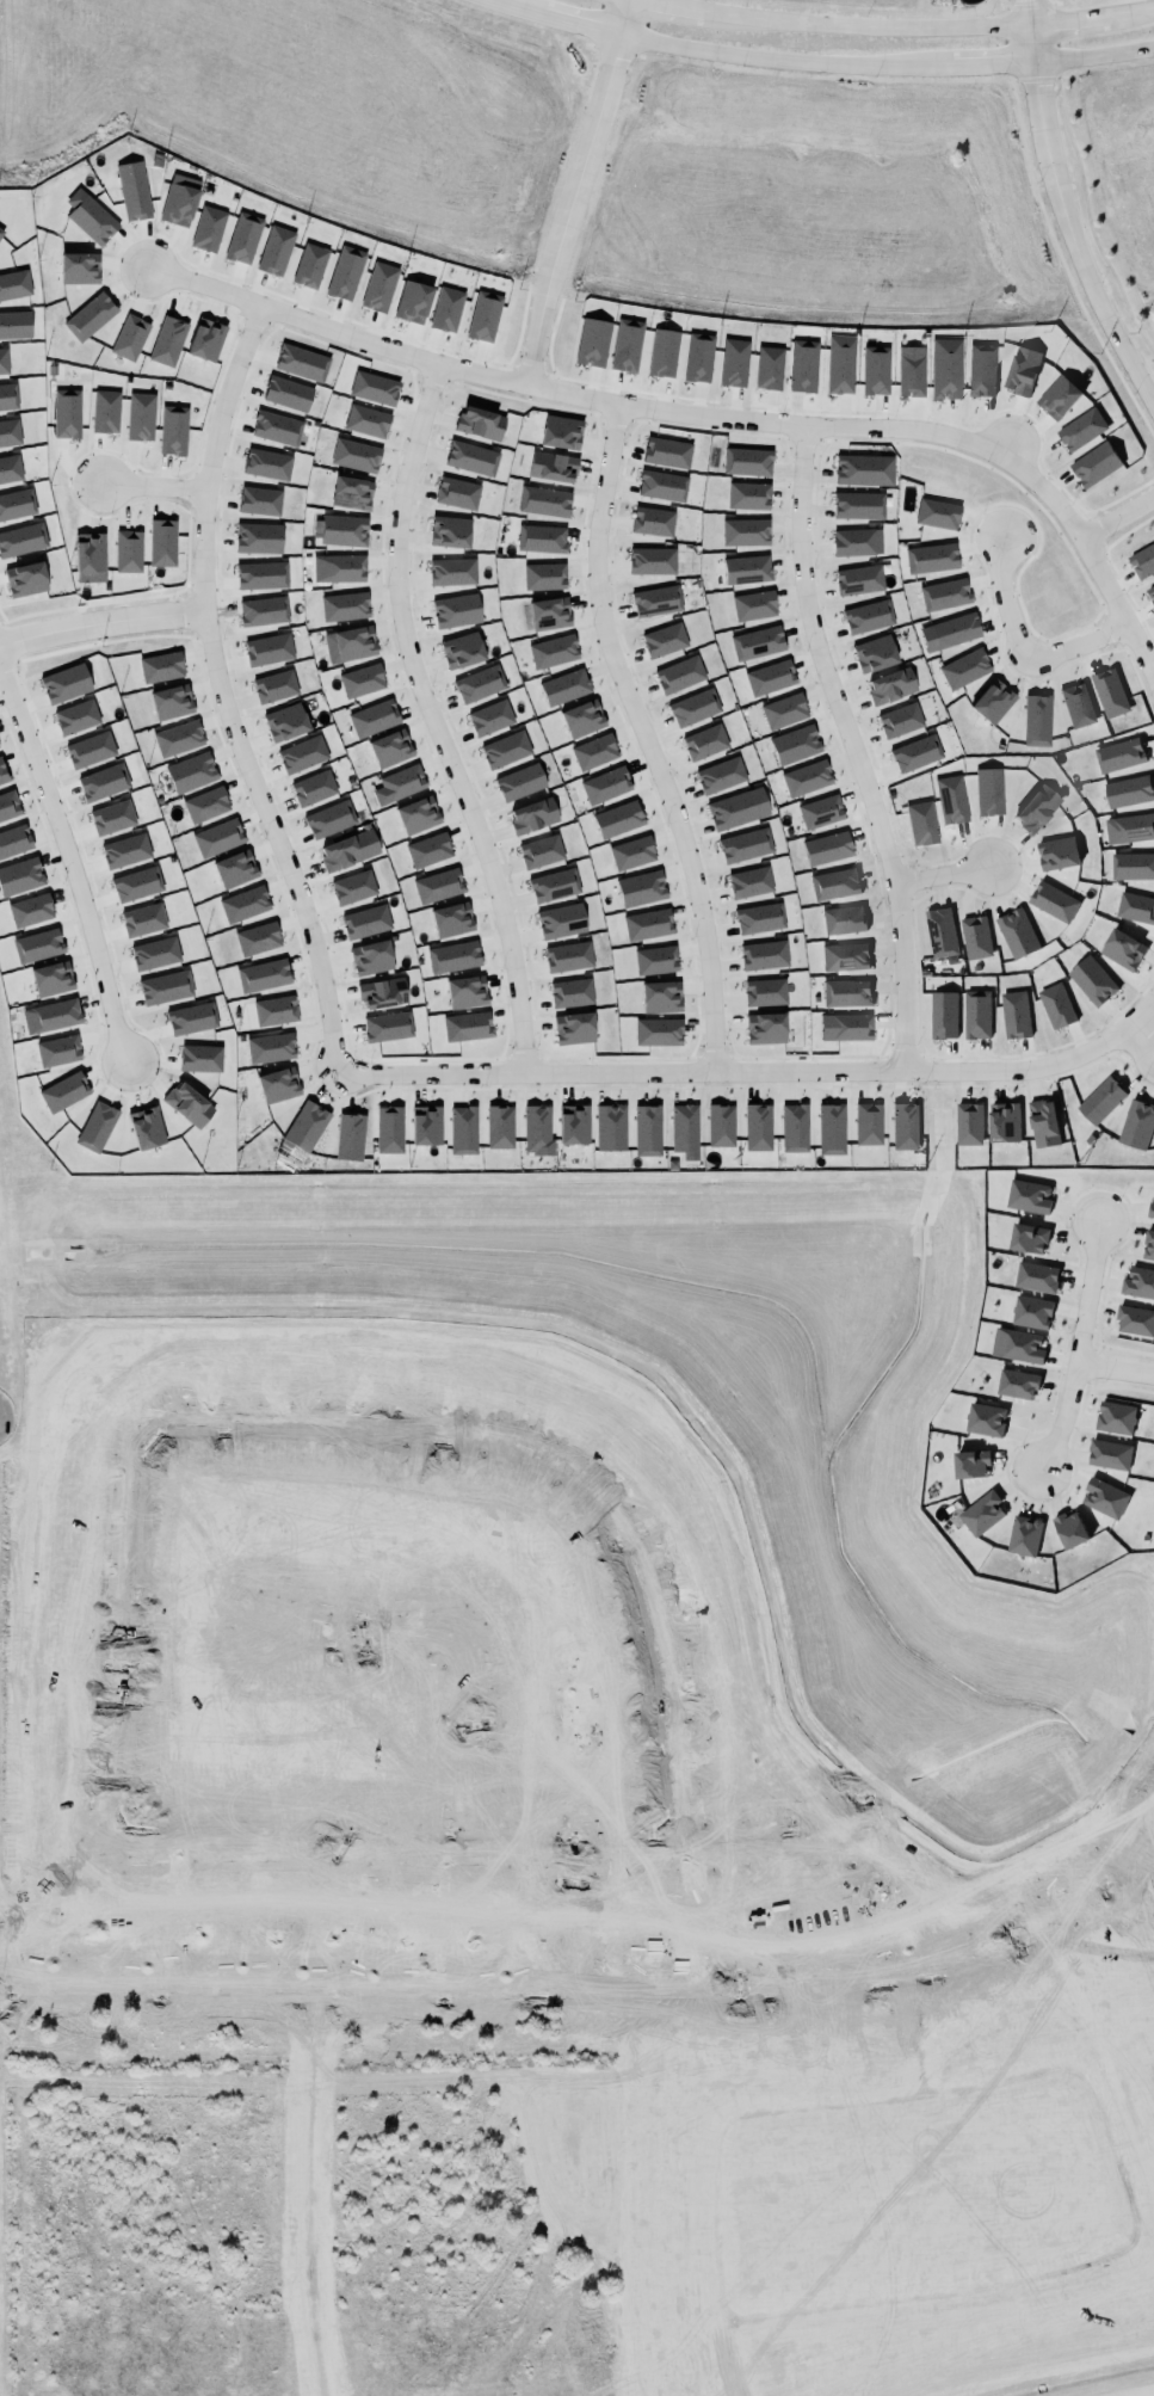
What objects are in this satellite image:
road: (1023, 13)
road: (890, 27)
road: (1026, 44)
road: (815, 64)
building: (134, 191)
road: (573, 191)
building: (179, 199)
building: (91, 220)
building: (209, 229)
building: (1, 233)
building: (243, 238)
road: (1073, 240)
building: (276, 251)
building: (310, 266)
building: (80, 269)
building: (346, 273)
building: (14, 285)
building: (379, 287)
building: (413, 300)
building: (446, 309)
building: (90, 316)
building: (483, 316)
building: (14, 326)
building: (130, 338)
building: (206, 340)
building: (592, 340)
building: (166, 345)
building: (627, 345)
building: (664, 353)
building: (698, 358)
building: (4, 362)
building: (302, 363)
building: (734, 363)
building: (840, 365)
building: (803, 367)
building: (944, 367)
building: (769, 368)
building: (876, 370)
building: (982, 370)
building: (1023, 370)
building: (912, 371)
building: (374, 388)
building: (1057, 393)
building: (288, 394)
building: (7, 398)
building: (106, 412)
building: (67, 414)
road: (702, 414)
building: (141, 417)
building: (365, 419)
building: (477, 421)
building: (277, 427)
building: (1082, 429)
building: (8, 430)
building: (173, 431)
building: (561, 432)
building: (667, 452)
building: (356, 456)
building: (471, 458)
building: (747, 461)
building: (1096, 461)
building: (267, 464)
building: (553, 467)
building: (10, 469)
building: (864, 469)
road: (153, 486)
building: (662, 486)
building: (456, 492)
building: (352, 493)
building: (747, 494)
building: (260, 501)
building: (544, 501)
building: (856, 503)
building: (17, 504)
building: (937, 513)
road: (1117, 518)
building: (653, 522)
building: (344, 530)
building: (450, 532)
building: (746, 532)
building: (259, 538)
building: (542, 538)
building: (21, 540)
building: (160, 541)
building: (853, 541)
building: (129, 552)
building: (90, 558)
building: (932, 559)
building: (1142, 560)
building: (652, 561)
building: (339, 568)
building: (747, 569)
building: (452, 572)
building: (263, 575)
building: (544, 577)
building: (25, 579)
building: (859, 579)
building: (1150, 592)
building: (945, 595)
building: (656, 602)
building: (345, 606)
building: (754, 606)
building: (264, 611)
building: (456, 611)
building: (549, 614)
building: (869, 616)
road: (101, 623)
building: (950, 633)
building: (665, 640)
building: (755, 640)
building: (350, 645)
building: (267, 647)
building: (462, 651)
building: (553, 652)
road: (1023, 652)
building: (875, 654)
building: (161, 667)
building: (965, 669)
building: (680, 675)
building: (770, 678)
building: (363, 680)
building: (477, 682)
building: (889, 683)
building: (66, 684)
building: (276, 686)
building: (564, 688)
building: (1110, 692)
road: (223, 694)
building: (992, 698)
building: (172, 702)
building: (1078, 706)
building: (692, 707)
building: (784, 712)
building: (76, 717)
building: (490, 717)
building: (374, 719)
building: (582, 719)
road: (434, 720)
building: (900, 720)
building: (1037, 720)
building: (286, 721)
road: (646, 737)
building: (178, 738)
building: (705, 743)
building: (795, 745)
road: (854, 746)
building: (390, 749)
building: (90, 750)
building: (506, 750)
building: (594, 752)
building: (301, 753)
building: (917, 753)
building: (1119, 754)
building: (191, 772)
building: (2, 774)
building: (721, 775)
building: (804, 776)
building: (519, 780)
building: (101, 781)
building: (401, 782)
building: (606, 786)
building: (314, 788)
building: (1129, 790)
building: (989, 792)
building: (951, 797)
building: (206, 805)
building: (8, 806)
building: (1037, 808)
building: (820, 809)
building: (733, 811)
building: (418, 815)
building: (533, 815)
building: (112, 818)
building: (329, 819)
building: (618, 820)
building: (921, 824)
building: (1130, 829)
building: (218, 838)
building: (14, 840)
building: (745, 844)
building: (827, 849)
building: (348, 850)
building: (428, 850)
building: (125, 851)
building: (541, 851)
building: (632, 854)
building: (1057, 854)
building: (233, 866)
building: (1133, 866)
road: (69, 867)
road: (942, 874)
building: (20, 876)
building: (748, 880)
building: (137, 885)
building: (554, 885)
building: (835, 885)
building: (352, 886)
building: (438, 886)
building: (640, 887)
building: (1054, 901)
building: (245, 905)
building: (1136, 907)
building: (30, 910)
building: (758, 916)
building: (143, 919)
building: (844, 919)
building: (451, 920)
building: (561, 920)
building: (366, 922)
building: (647, 923)
building: (1016, 930)
building: (942, 932)
building: (976, 937)
building: (258, 938)
building: (37, 946)
building: (1123, 949)
building: (763, 953)
building: (155, 954)
building: (568, 956)
building: (845, 956)
building: (371, 957)
building: (453, 957)
building: (656, 960)
building: (49, 975)
building: (264, 975)
building: (1093, 980)
building: (163, 986)
building: (763, 988)
building: (467, 992)
building: (383, 993)
building: (572, 993)
building: (846, 993)
building: (661, 997)
building: (1057, 1005)
building: (272, 1011)
building: (977, 1014)
building: (1016, 1014)
building: (55, 1015)
building: (944, 1015)
building: (191, 1018)
building: (388, 1027)
building: (467, 1027)
building: (846, 1027)
building: (573, 1029)
building: (765, 1029)
building: (658, 1031)
road: (1143, 1034)
building: (271, 1048)
building: (57, 1051)
building: (200, 1059)
road: (755, 1071)
building: (278, 1085)
building: (63, 1092)
building: (1101, 1100)
building: (187, 1104)
building: (1002, 1119)
building: (572, 1121)
building: (426, 1122)
building: (718, 1122)
building: (143, 1123)
building: (869, 1123)
building: (969, 1123)
building: (1044, 1123)
building: (610, 1125)
building: (755, 1125)
building: (794, 1125)
building: (1137, 1125)
building: (307, 1126)
building: (906, 1126)
building: (97, 1127)
building: (500, 1127)
building: (647, 1128)
building: (389, 1129)
building: (832, 1129)
building: (463, 1131)
building: (538, 1131)
building: (685, 1131)
building: (350, 1137)
building: (1028, 1196)
building: (1150, 1209)
building: (1029, 1237)
building: (1149, 1245)
building: (1037, 1276)
building: (1137, 1281)
building: (1032, 1312)
building: (1135, 1318)
building: (1023, 1347)
road: (1079, 1347)
road: (1115, 1369)
building: (1017, 1384)
building: (1116, 1417)
building: (986, 1419)
building: (1110, 1454)
building: (971, 1464)
building: (1105, 1497)
building: (982, 1514)
building: (1070, 1529)
building: (1024, 1535)
road: (121, 1575)
road: (458, 1649)
road: (573, 1917)
road: (891, 1970)
road: (285, 1978)
road: (918, 2032)
road: (903, 2098)
road: (1116, 2156)
road: (720, 2256)
road: (939, 2295)

